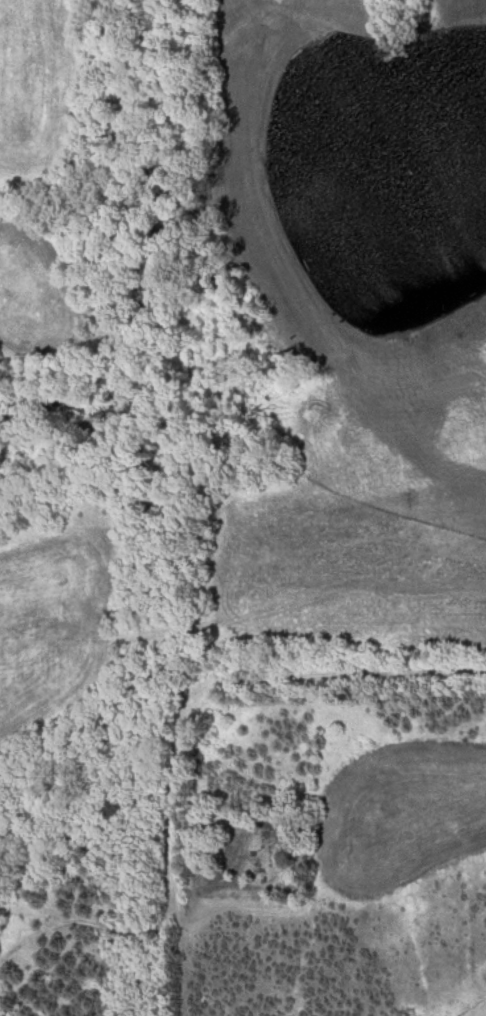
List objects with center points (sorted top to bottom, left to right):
road: (333, 659)
park: (250, 853)

